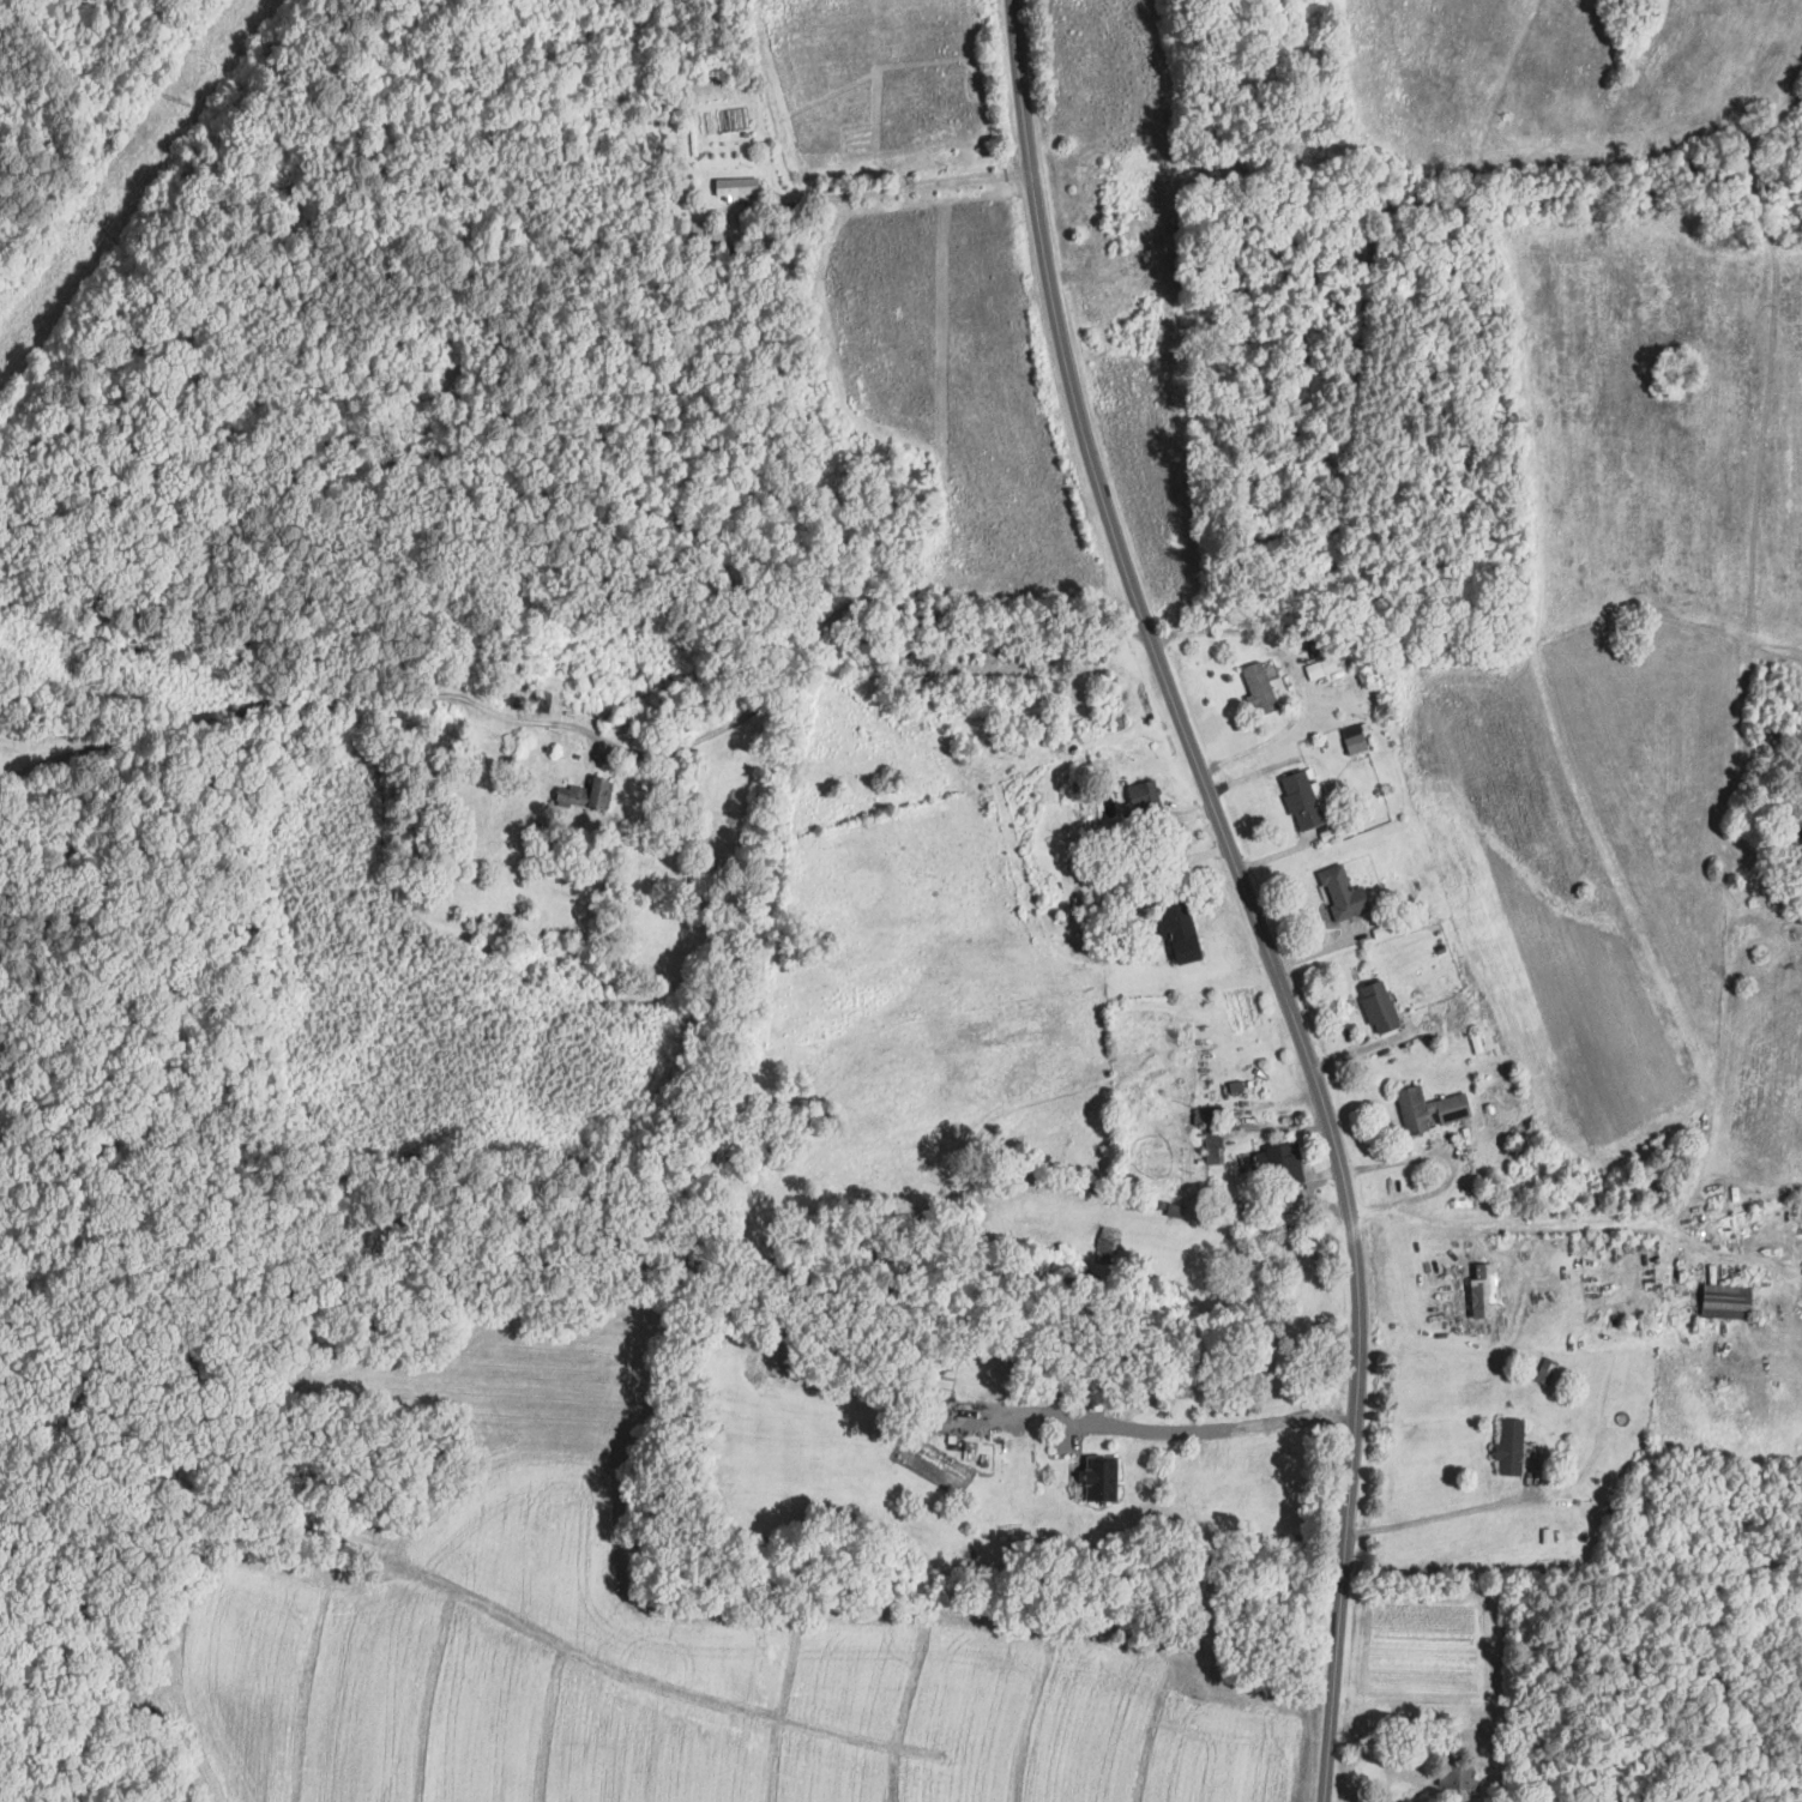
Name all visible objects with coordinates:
power tower: (185, 98)
building: (737, 187)
road: (908, 187)
building: (1053, 656)
building: (465, 667)
building: (1324, 668)
building: (1259, 691)
road: (602, 739)
building: (1354, 740)
building: (586, 795)
building: (1141, 802)
building: (1303, 802)
road: (1246, 893)
building: (1343, 894)
building: (1180, 930)
building: (1463, 1005)
building: (1379, 1008)
building: (1430, 1109)
building: (1482, 1125)
building: (1211, 1126)
building: (1655, 1146)
building: (1285, 1163)
road: (1671, 1212)
building: (1107, 1242)
building: (1728, 1301)
building: (1547, 1372)
building: (938, 1422)
road: (1167, 1424)
building: (1511, 1447)
building: (1102, 1478)
road: (1456, 1513)
building: (1457, 1774)

